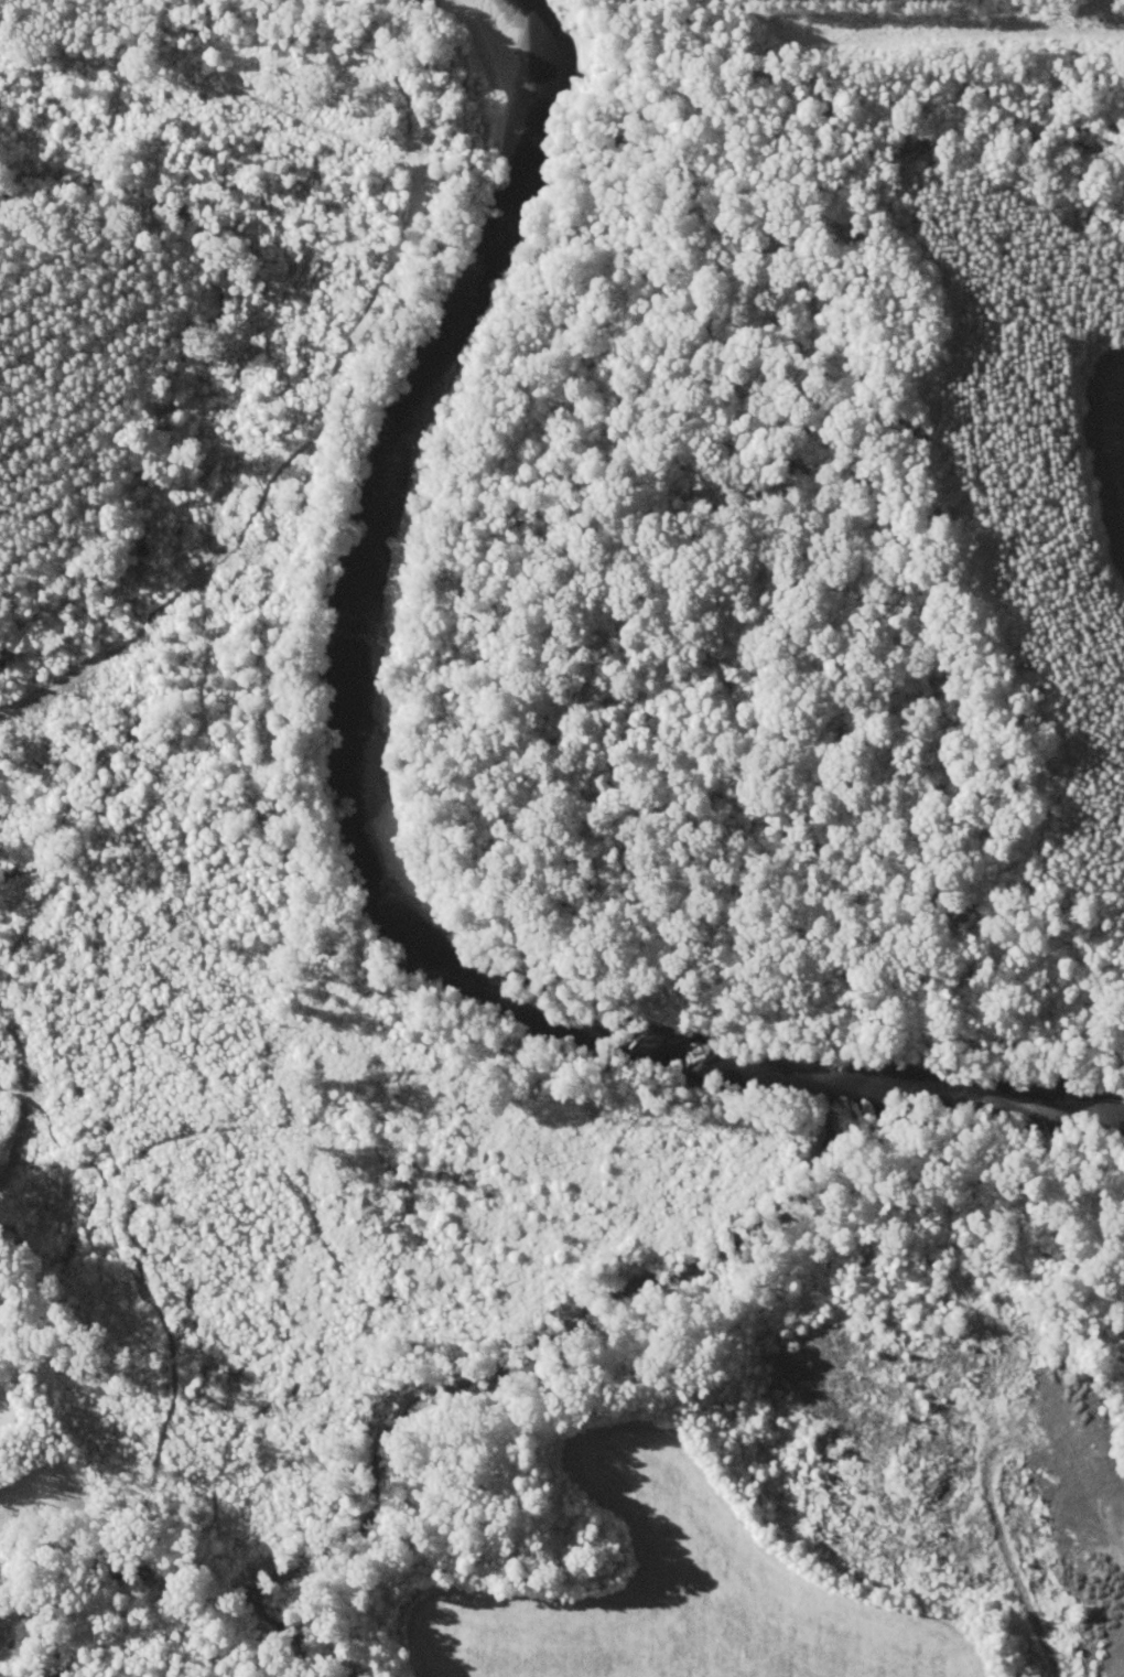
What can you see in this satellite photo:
road: (1016, 1578)
road: (4, 1610)
road: (2, 1631)

